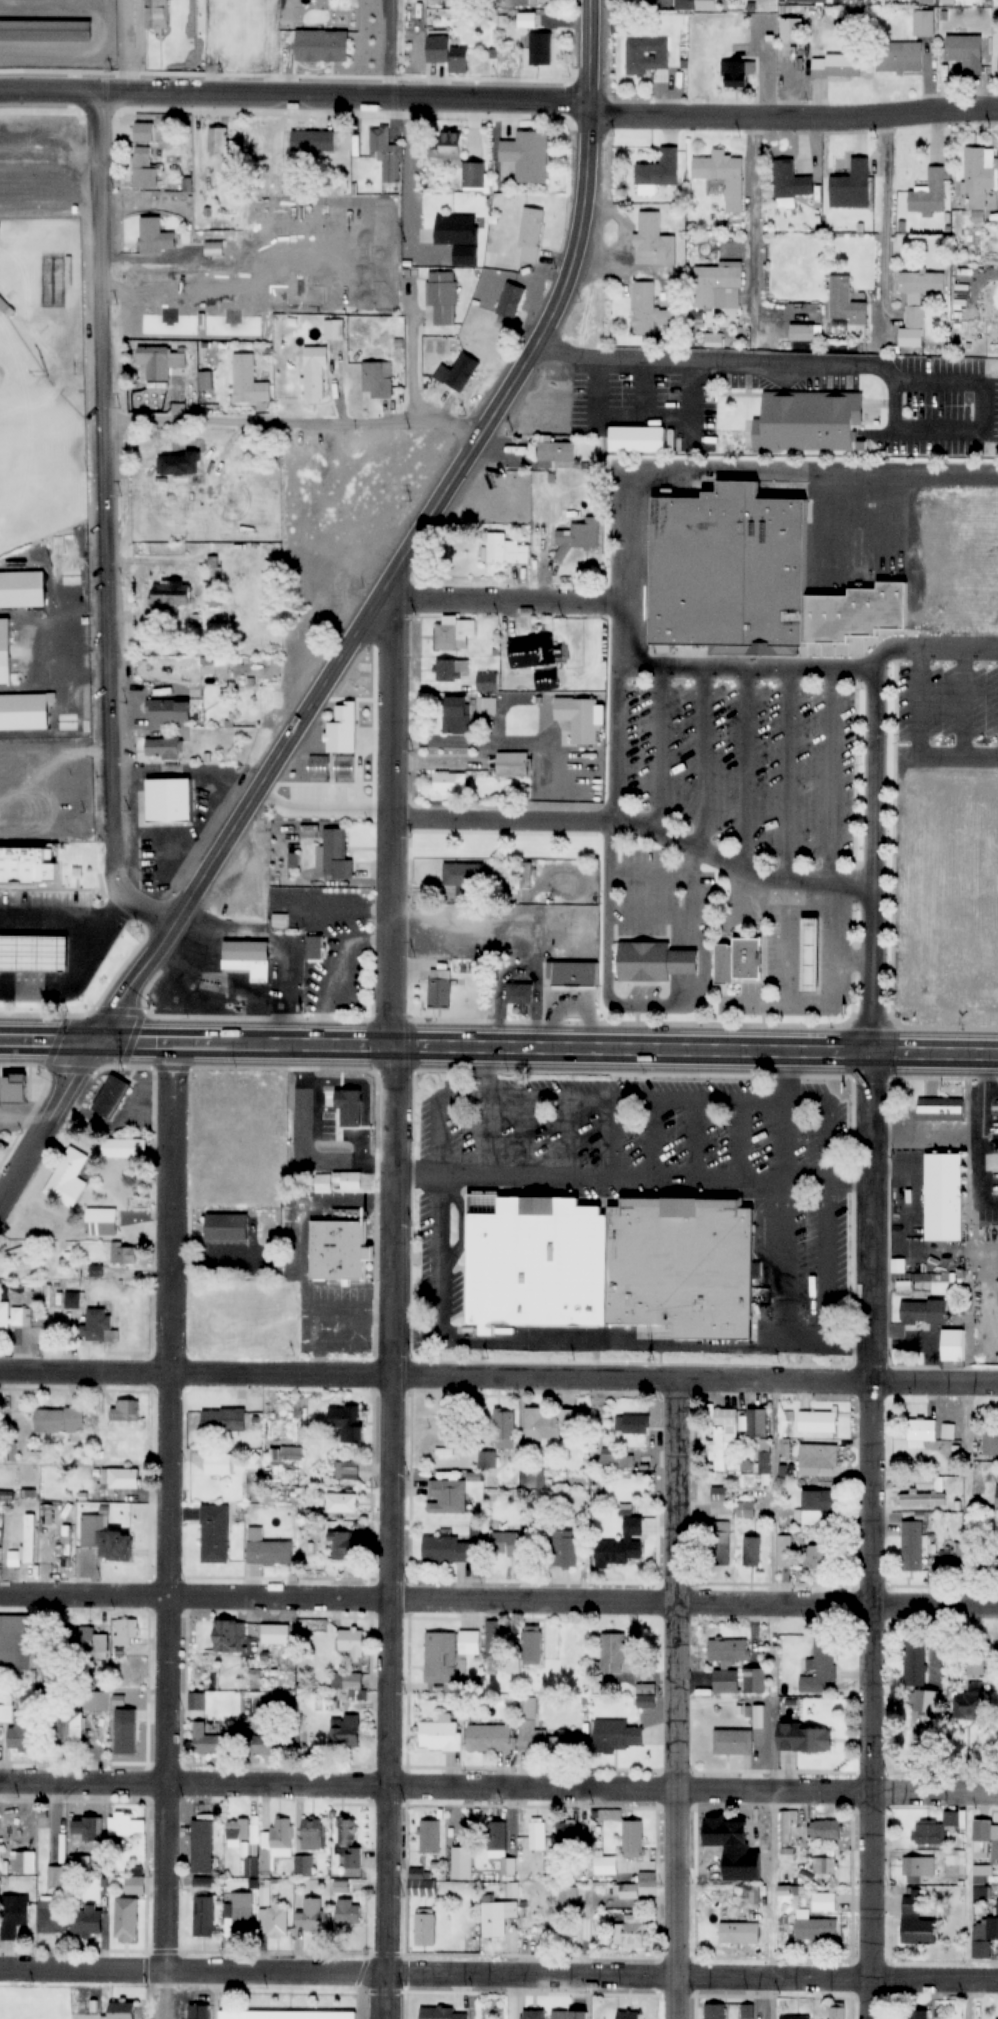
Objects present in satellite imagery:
building: (809, 1)
building: (532, 2)
building: (157, 14)
building: (526, 20)
building: (924, 23)
building: (791, 30)
building: (46, 31)
building: (322, 46)
road: (366, 48)
building: (540, 49)
building: (448, 53)
building: (966, 54)
building: (646, 56)
building: (899, 57)
building: (833, 66)
building: (737, 73)
road: (294, 95)
road: (793, 117)
building: (144, 133)
building: (222, 142)
building: (313, 142)
building: (446, 149)
building: (385, 155)
building: (528, 156)
building: (145, 169)
building: (658, 173)
building: (474, 176)
building: (723, 177)
building: (978, 179)
parking lot: (41, 180)
building: (791, 181)
building: (852, 187)
road: (393, 192)
building: (929, 194)
road: (869, 229)
building: (531, 235)
building: (154, 237)
building: (655, 240)
road: (733, 246)
building: (215, 249)
building: (55, 281)
building: (718, 286)
building: (443, 297)
building: (845, 301)
building: (511, 302)
road: (249, 303)
building: (917, 304)
building: (648, 311)
building: (802, 333)
building: (785, 336)
building: (893, 341)
road: (394, 349)
building: (161, 362)
road: (746, 366)
building: (964, 371)
building: (458, 373)
building: (315, 376)
building: (377, 380)
building: (248, 382)
road: (629, 389)
parking lot: (665, 400)
road: (965, 409)
parking lot: (924, 411)
road: (623, 415)
road: (289, 422)
building: (791, 424)
building: (732, 438)
building: (621, 444)
building: (843, 448)
park: (37, 449)
building: (557, 455)
building: (178, 464)
building: (544, 482)
road: (107, 530)
building: (577, 538)
road: (401, 539)
building: (506, 550)
crop: (950, 566)
building: (713, 576)
road: (614, 582)
building: (22, 591)
building: (172, 592)
road: (497, 602)
building: (841, 618)
building: (455, 634)
building: (5, 652)
building: (534, 652)
building: (453, 671)
building: (547, 681)
building: (488, 683)
parking lot: (939, 705)
building: (487, 707)
road: (947, 707)
road: (991, 707)
building: (168, 711)
building: (24, 712)
building: (456, 715)
building: (582, 719)
road: (601, 745)
building: (164, 749)
road: (642, 752)
road: (903, 753)
road: (687, 761)
building: (513, 765)
road: (729, 772)
building: (450, 783)
parking lot: (710, 783)
building: (152, 804)
road: (815, 817)
road: (622, 829)
building: (336, 856)
road: (855, 864)
building: (18, 871)
building: (464, 874)
building: (526, 875)
building: (443, 876)
crop: (940, 899)
road: (772, 900)
parking lot: (37, 903)
road: (317, 914)
road: (635, 918)
road: (46, 925)
road: (335, 945)
building: (314, 948)
building: (24, 956)
building: (791, 956)
building: (811, 957)
building: (249, 958)
parking lot: (756, 958)
building: (655, 962)
building: (730, 962)
building: (706, 966)
road: (66, 969)
road: (320, 972)
road: (501, 978)
building: (558, 978)
building: (73, 986)
parking lot: (318, 986)
building: (440, 989)
building: (519, 993)
road: (626, 1009)
road: (49, 1043)
road: (547, 1050)
building: (14, 1088)
building: (92, 1097)
building: (111, 1098)
road: (543, 1099)
building: (941, 1110)
road: (769, 1120)
road: (46, 1122)
road: (473, 1137)
road: (511, 1138)
road: (557, 1139)
road: (596, 1140)
road: (639, 1142)
road: (679, 1143)
road: (724, 1144)
building: (124, 1148)
road: (963, 1149)
parking lot: (628, 1175)
building: (68, 1179)
road: (616, 1180)
building: (337, 1182)
building: (928, 1202)
building: (102, 1222)
building: (209, 1233)
building: (16, 1254)
building: (125, 1254)
building: (322, 1255)
building: (611, 1267)
building: (70, 1301)
road: (380, 1303)
building: (924, 1312)
building: (9, 1317)
building: (96, 1325)
building: (953, 1346)
building: (937, 1352)
road: (79, 1375)
road: (230, 1376)
road: (341, 1377)
road: (689, 1381)
building: (126, 1412)
building: (58, 1420)
building: (223, 1421)
building: (348, 1422)
building: (817, 1422)
building: (757, 1423)
building: (548, 1424)
building: (633, 1424)
building: (505, 1428)
building: (923, 1430)
building: (949, 1432)
building: (724, 1436)
building: (990, 1441)
building: (446, 1445)
building: (291, 1453)
building: (817, 1459)
building: (488, 1460)
building: (616, 1460)
building: (219, 1464)
building: (765, 1464)
building: (346, 1469)
building: (533, 1479)
building: (119, 1481)
road: (970, 1495)
building: (6, 1496)
building: (447, 1497)
building: (923, 1500)
building: (722, 1501)
building: (342, 1503)
building: (816, 1507)
road: (160, 1509)
building: (746, 1510)
building: (717, 1533)
building: (215, 1534)
road: (854, 1538)
building: (105, 1539)
building: (513, 1543)
building: (26, 1545)
building: (343, 1546)
building: (623, 1546)
building: (913, 1546)
building: (66, 1547)
building: (566, 1547)
building: (266, 1548)
building: (447, 1551)
building: (785, 1552)
building: (958, 1553)
building: (821, 1557)
building: (990, 1560)
road: (499, 1602)
building: (126, 1632)
building: (230, 1636)
building: (495, 1638)
building: (277, 1643)
building: (353, 1643)
building: (469, 1643)
building: (16, 1644)
building: (92, 1645)
building: (532, 1646)
building: (728, 1651)
building: (613, 1654)
building: (441, 1657)
building: (916, 1659)
building: (974, 1664)
building: (821, 1667)
building: (347, 1682)
building: (726, 1683)
road: (681, 1700)
road: (775, 1700)
building: (97, 1701)
building: (926, 1701)
building: (197, 1702)
building: (969, 1705)
building: (528, 1716)
building: (71, 1729)
building: (346, 1732)
building: (20, 1735)
building: (441, 1736)
building: (617, 1737)
building: (293, 1738)
building: (490, 1738)
building: (206, 1741)
building: (806, 1741)
building: (734, 1743)
road: (499, 1792)
building: (127, 1826)
building: (786, 1826)
building: (87, 1829)
building: (937, 1829)
building: (826, 1831)
building: (237, 1832)
building: (717, 1833)
building: (312, 1834)
building: (538, 1835)
building: (566, 1835)
building: (431, 1837)
building: (993, 1837)
building: (633, 1840)
building: (350, 1841)
building: (276, 1843)
building: (202, 1846)
building: (501, 1848)
building: (957, 1858)
building: (23, 1863)
building: (462, 1863)
building: (81, 1864)
building: (825, 1866)
building: (304, 1867)
building: (920, 1870)
building: (57, 1878)
building: (422, 1883)
building: (135, 1885)
building: (511, 1890)
building: (982, 1890)
building: (629, 1892)
building: (569, 1898)
building: (753, 1900)
building: (824, 1902)
road: (970, 1908)
building: (349, 1913)
building: (14, 1915)
building: (53, 1916)
building: (272, 1916)
building: (311, 1916)
building: (204, 1917)
building: (499, 1917)
building: (127, 1920)
building: (243, 1920)
building: (917, 1920)
building: (87, 1922)
building: (426, 1927)
building: (815, 1927)
building: (757, 1930)
building: (631, 1932)
building: (984, 1938)
road: (499, 1976)
building: (123, 2011)
building: (199, 2011)
building: (716, 2011)
building: (748, 2012)
building: (838, 2012)
building: (285, 2014)
building: (534, 2015)
building: (570, 2015)
building: (629, 2015)
building: (917, 2015)
building: (796, 2018)

